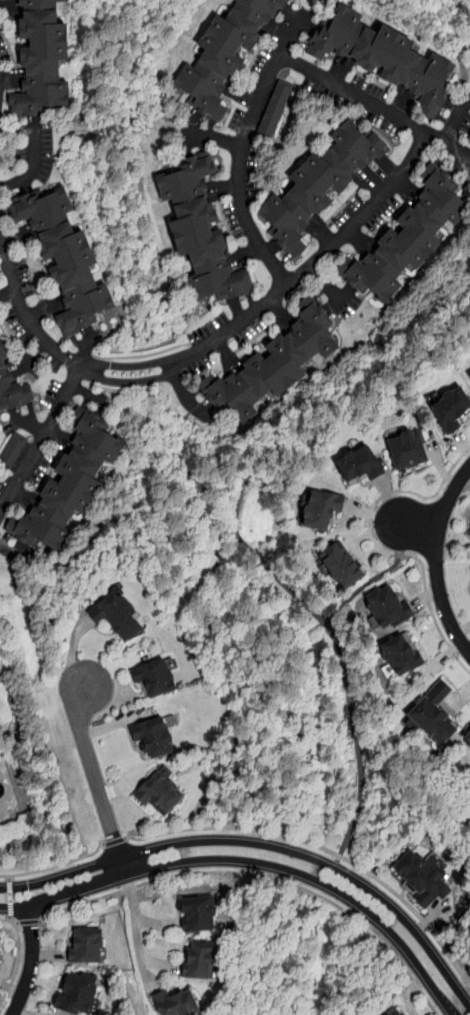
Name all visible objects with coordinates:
building: (232, 49)
building: (391, 55)
building: (47, 56)
road: (279, 58)
building: (275, 110)
road: (456, 115)
road: (26, 123)
road: (112, 127)
building: (468, 136)
road: (216, 138)
road: (448, 144)
building: (327, 179)
building: (206, 226)
building: (413, 236)
road: (0, 240)
building: (71, 255)
road: (178, 364)
building: (276, 364)
building: (8, 368)
building: (469, 371)
building: (469, 378)
road: (183, 394)
building: (450, 411)
road: (42, 442)
road: (229, 442)
building: (402, 452)
building: (12, 453)
building: (357, 467)
building: (73, 482)
building: (317, 511)
road: (418, 527)
building: (469, 537)
road: (377, 546)
road: (437, 560)
building: (337, 567)
road: (377, 580)
building: (385, 610)
building: (125, 617)
road: (336, 648)
building: (399, 656)
building: (154, 677)
building: (430, 717)
building: (159, 738)
building: (467, 741)
road: (97, 783)
building: (162, 795)
road: (231, 828)
road: (113, 840)
road: (264, 845)
road: (254, 862)
road: (337, 863)
road: (55, 865)
road: (261, 876)
building: (419, 882)
road: (10, 898)
road: (413, 911)
building: (202, 917)
road: (27, 922)
road: (160, 926)
road: (137, 937)
building: (0, 948)
building: (89, 949)
road: (16, 960)
road: (31, 962)
building: (203, 964)
road: (163, 966)
building: (81, 997)
building: (179, 1004)
building: (396, 1014)

